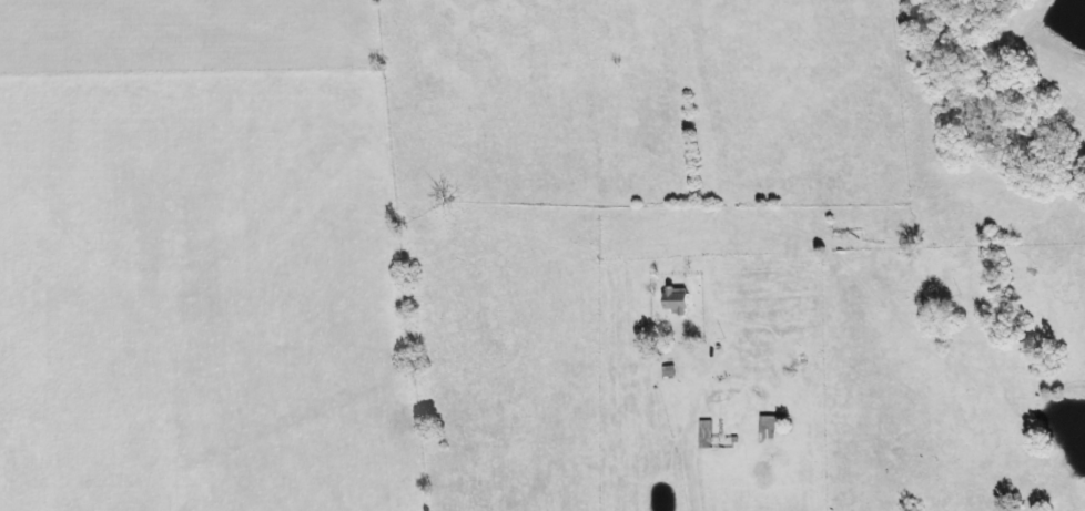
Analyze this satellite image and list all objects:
building: (681, 302)
road: (866, 329)
building: (773, 427)

